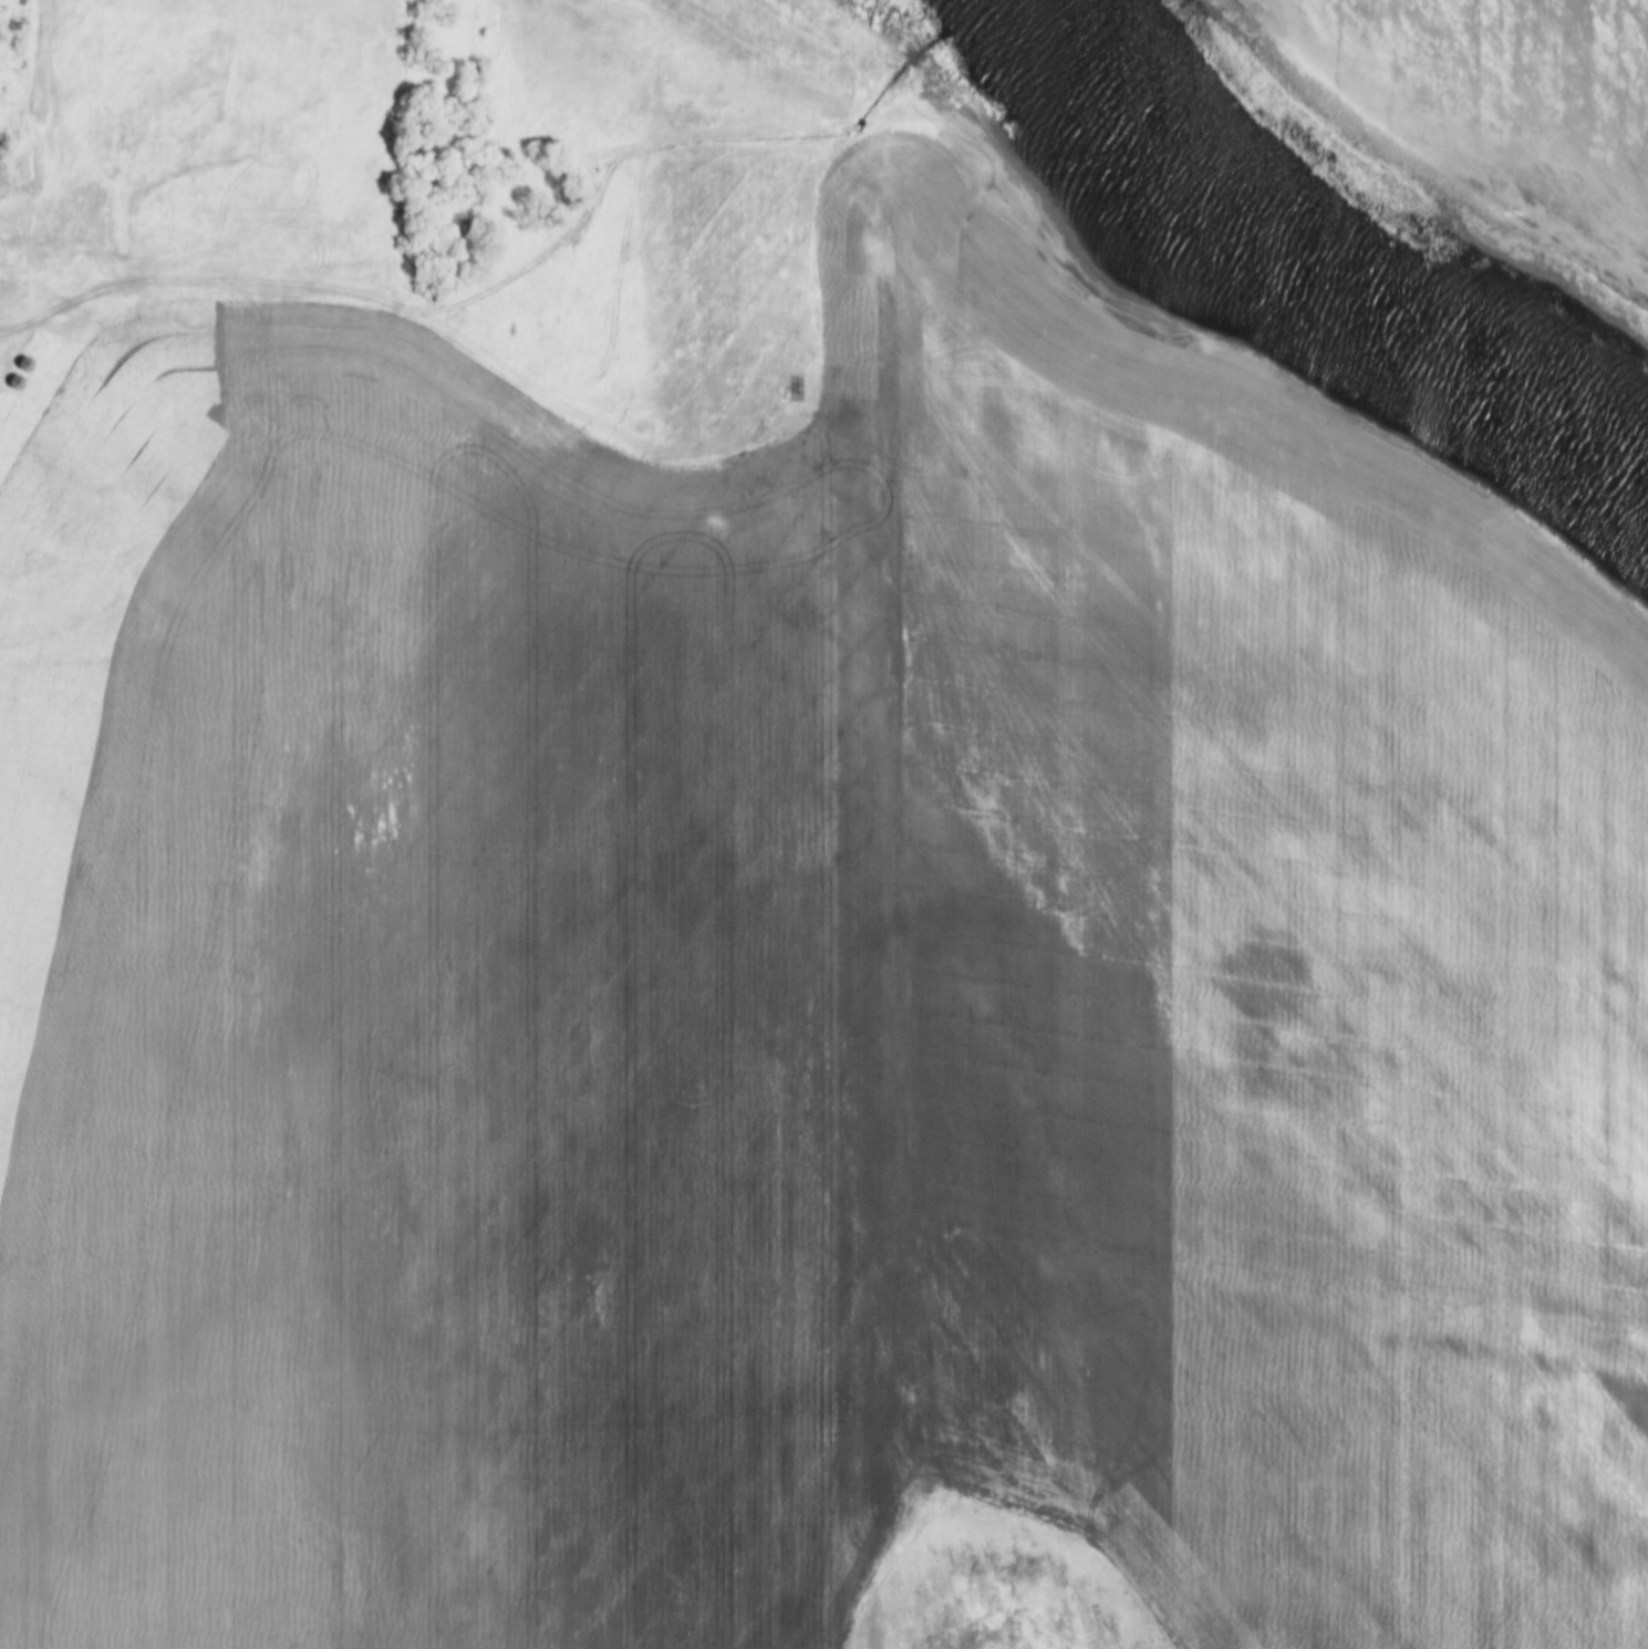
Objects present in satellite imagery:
river: (1326, 278)
building: (23, 364)
building: (14, 382)

